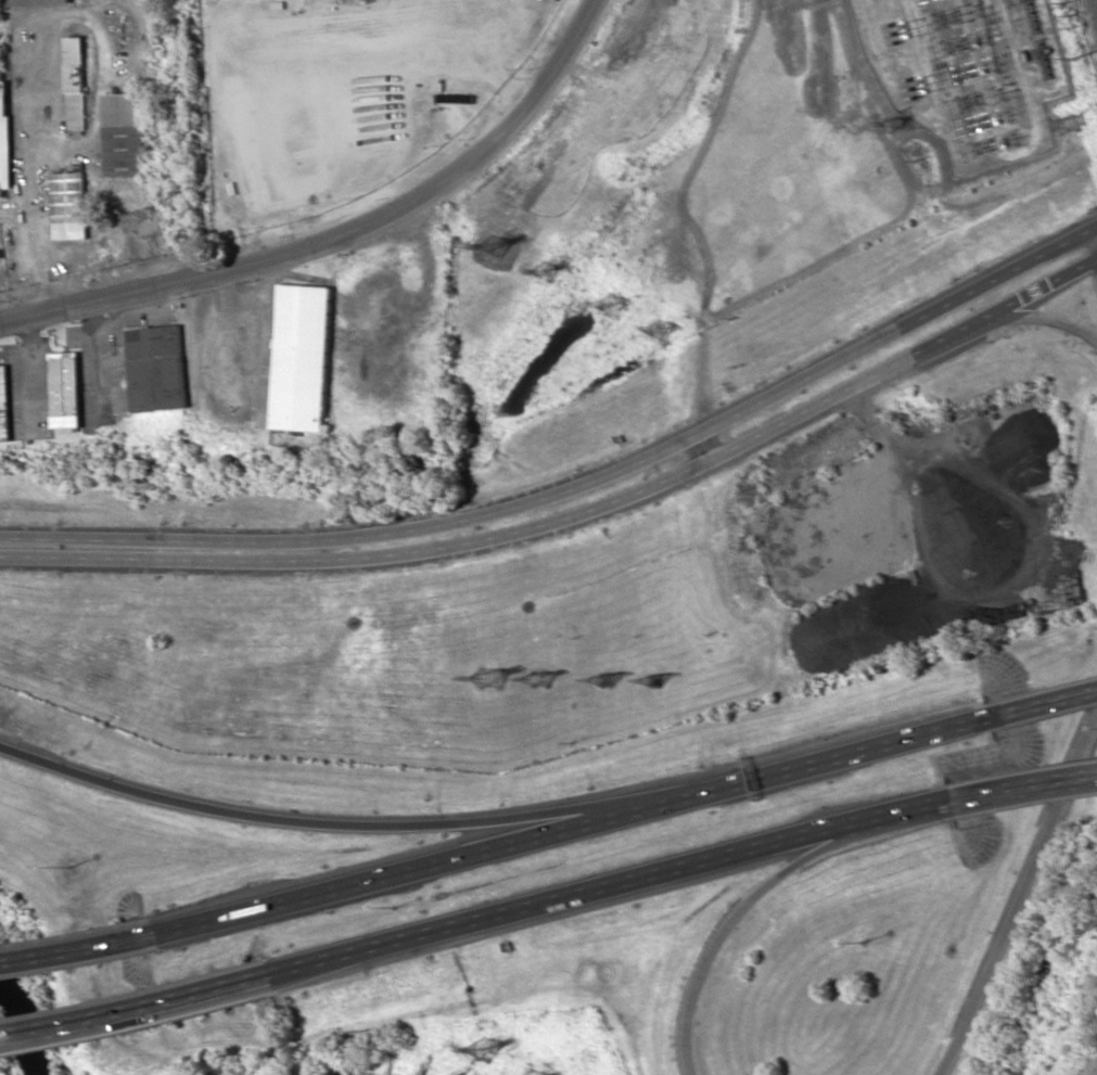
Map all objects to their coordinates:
railway: (1096, 1)
building: (34, 2)
power substation: (966, 72)
building: (75, 84)
power tower: (891, 123)
power tower: (1066, 125)
building: (126, 135)
building: (3, 137)
building: (68, 205)
road: (344, 239)
power tower: (495, 247)
road: (1090, 248)
power tower: (543, 272)
power tower: (611, 306)
road: (1039, 319)
road: (908, 327)
power tower: (656, 331)
building: (301, 357)
road: (907, 363)
building: (155, 368)
building: (63, 389)
building: (3, 405)
road: (369, 532)
road: (367, 560)
power tower: (488, 677)
power tower: (538, 678)
power tower: (605, 679)
power tower: (653, 680)
road: (1045, 705)
road: (1025, 789)
road: (893, 819)
road: (344, 823)
road: (576, 829)
road: (1022, 901)
road: (550, 907)
road: (720, 933)
road: (79, 954)
road: (135, 1009)
power tower: (483, 1049)

